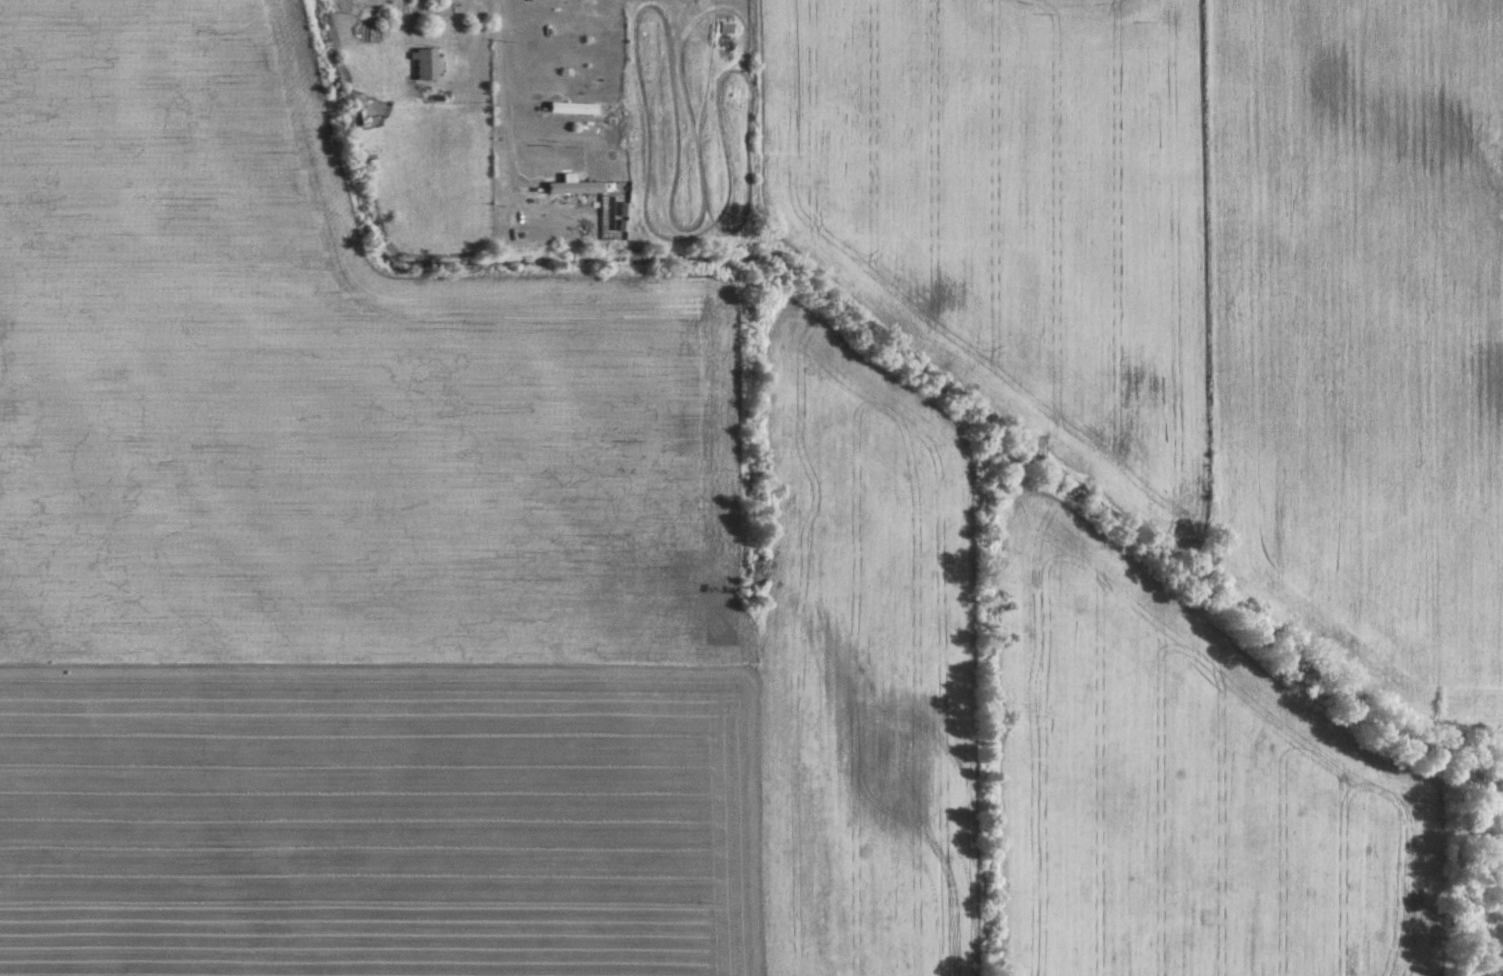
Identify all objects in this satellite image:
road: (493, 23)
building: (425, 65)
building: (728, 98)
building: (569, 109)
building: (609, 118)
building: (568, 199)
building: (583, 221)

